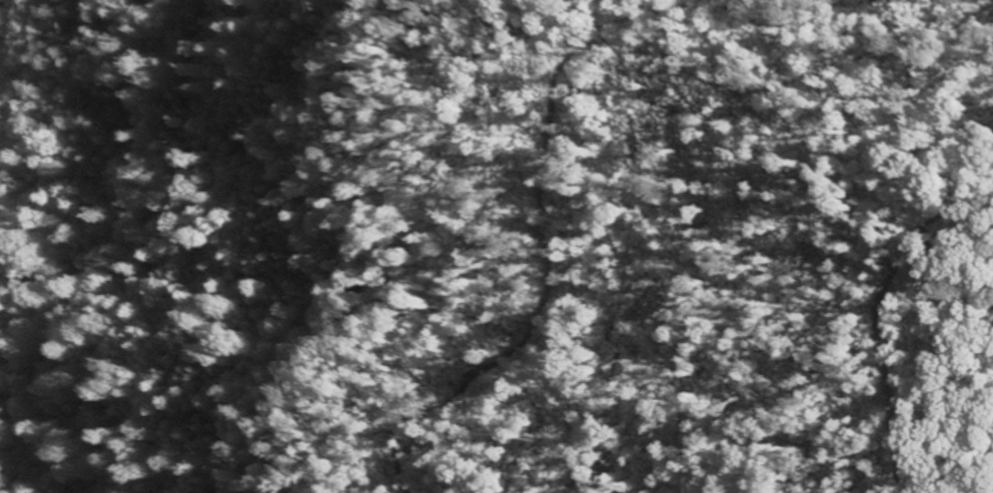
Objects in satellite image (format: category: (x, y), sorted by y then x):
road: (537, 142)

